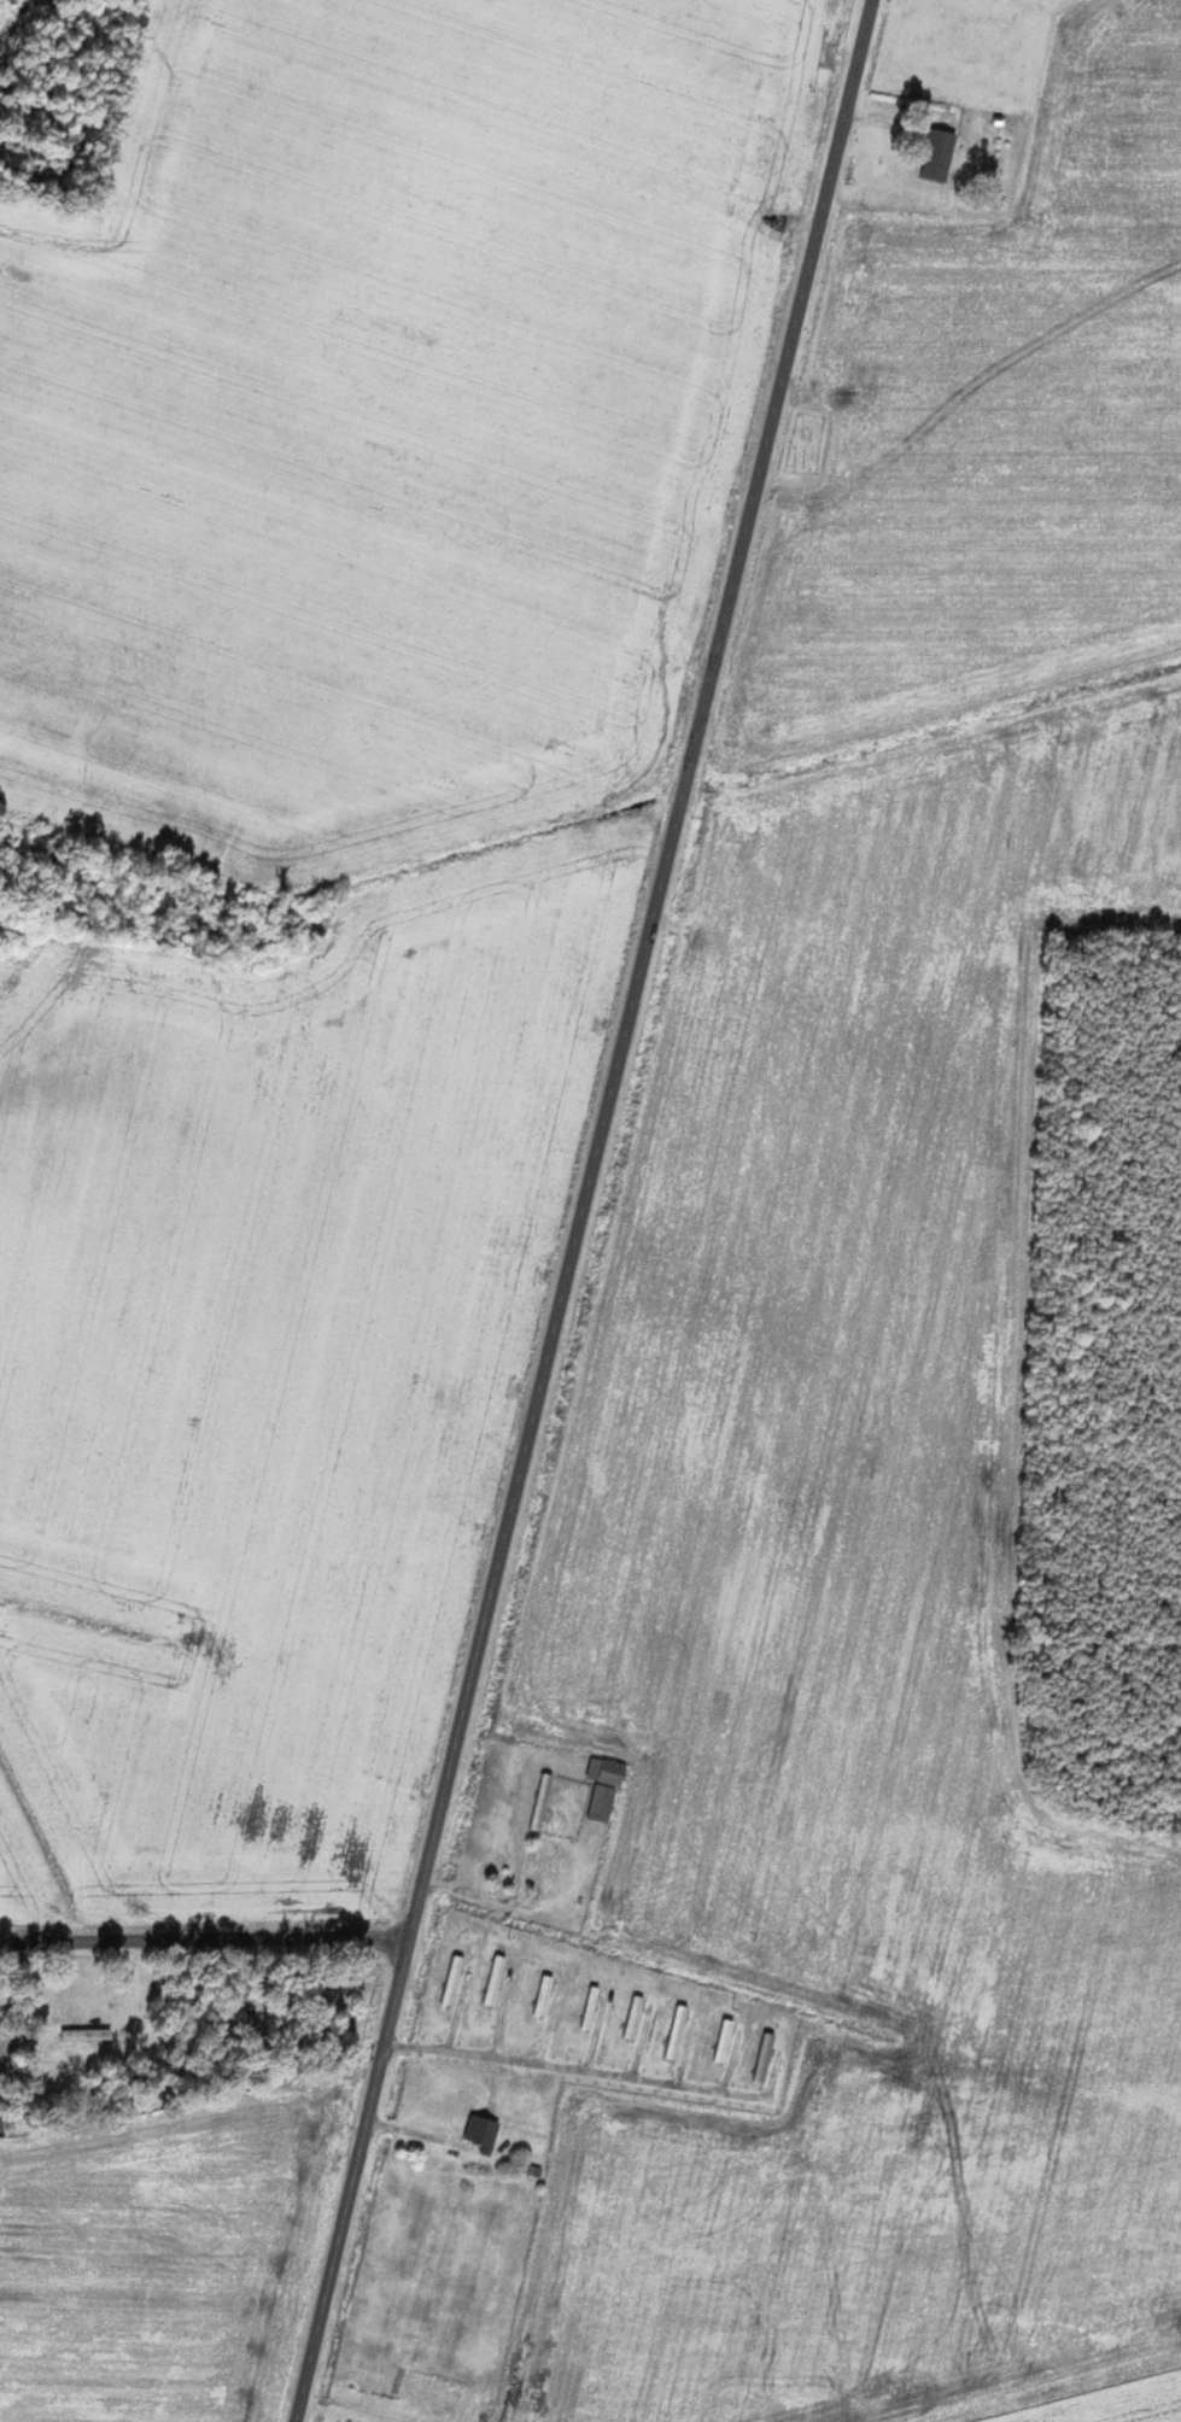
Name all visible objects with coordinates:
building: (941, 154)
road: (584, 1210)
building: (604, 1786)
road: (204, 1941)
building: (495, 1979)
building: (677, 2031)
building: (87, 2035)
building: (724, 2040)
building: (764, 2057)
road: (578, 2071)
building: (484, 2133)

